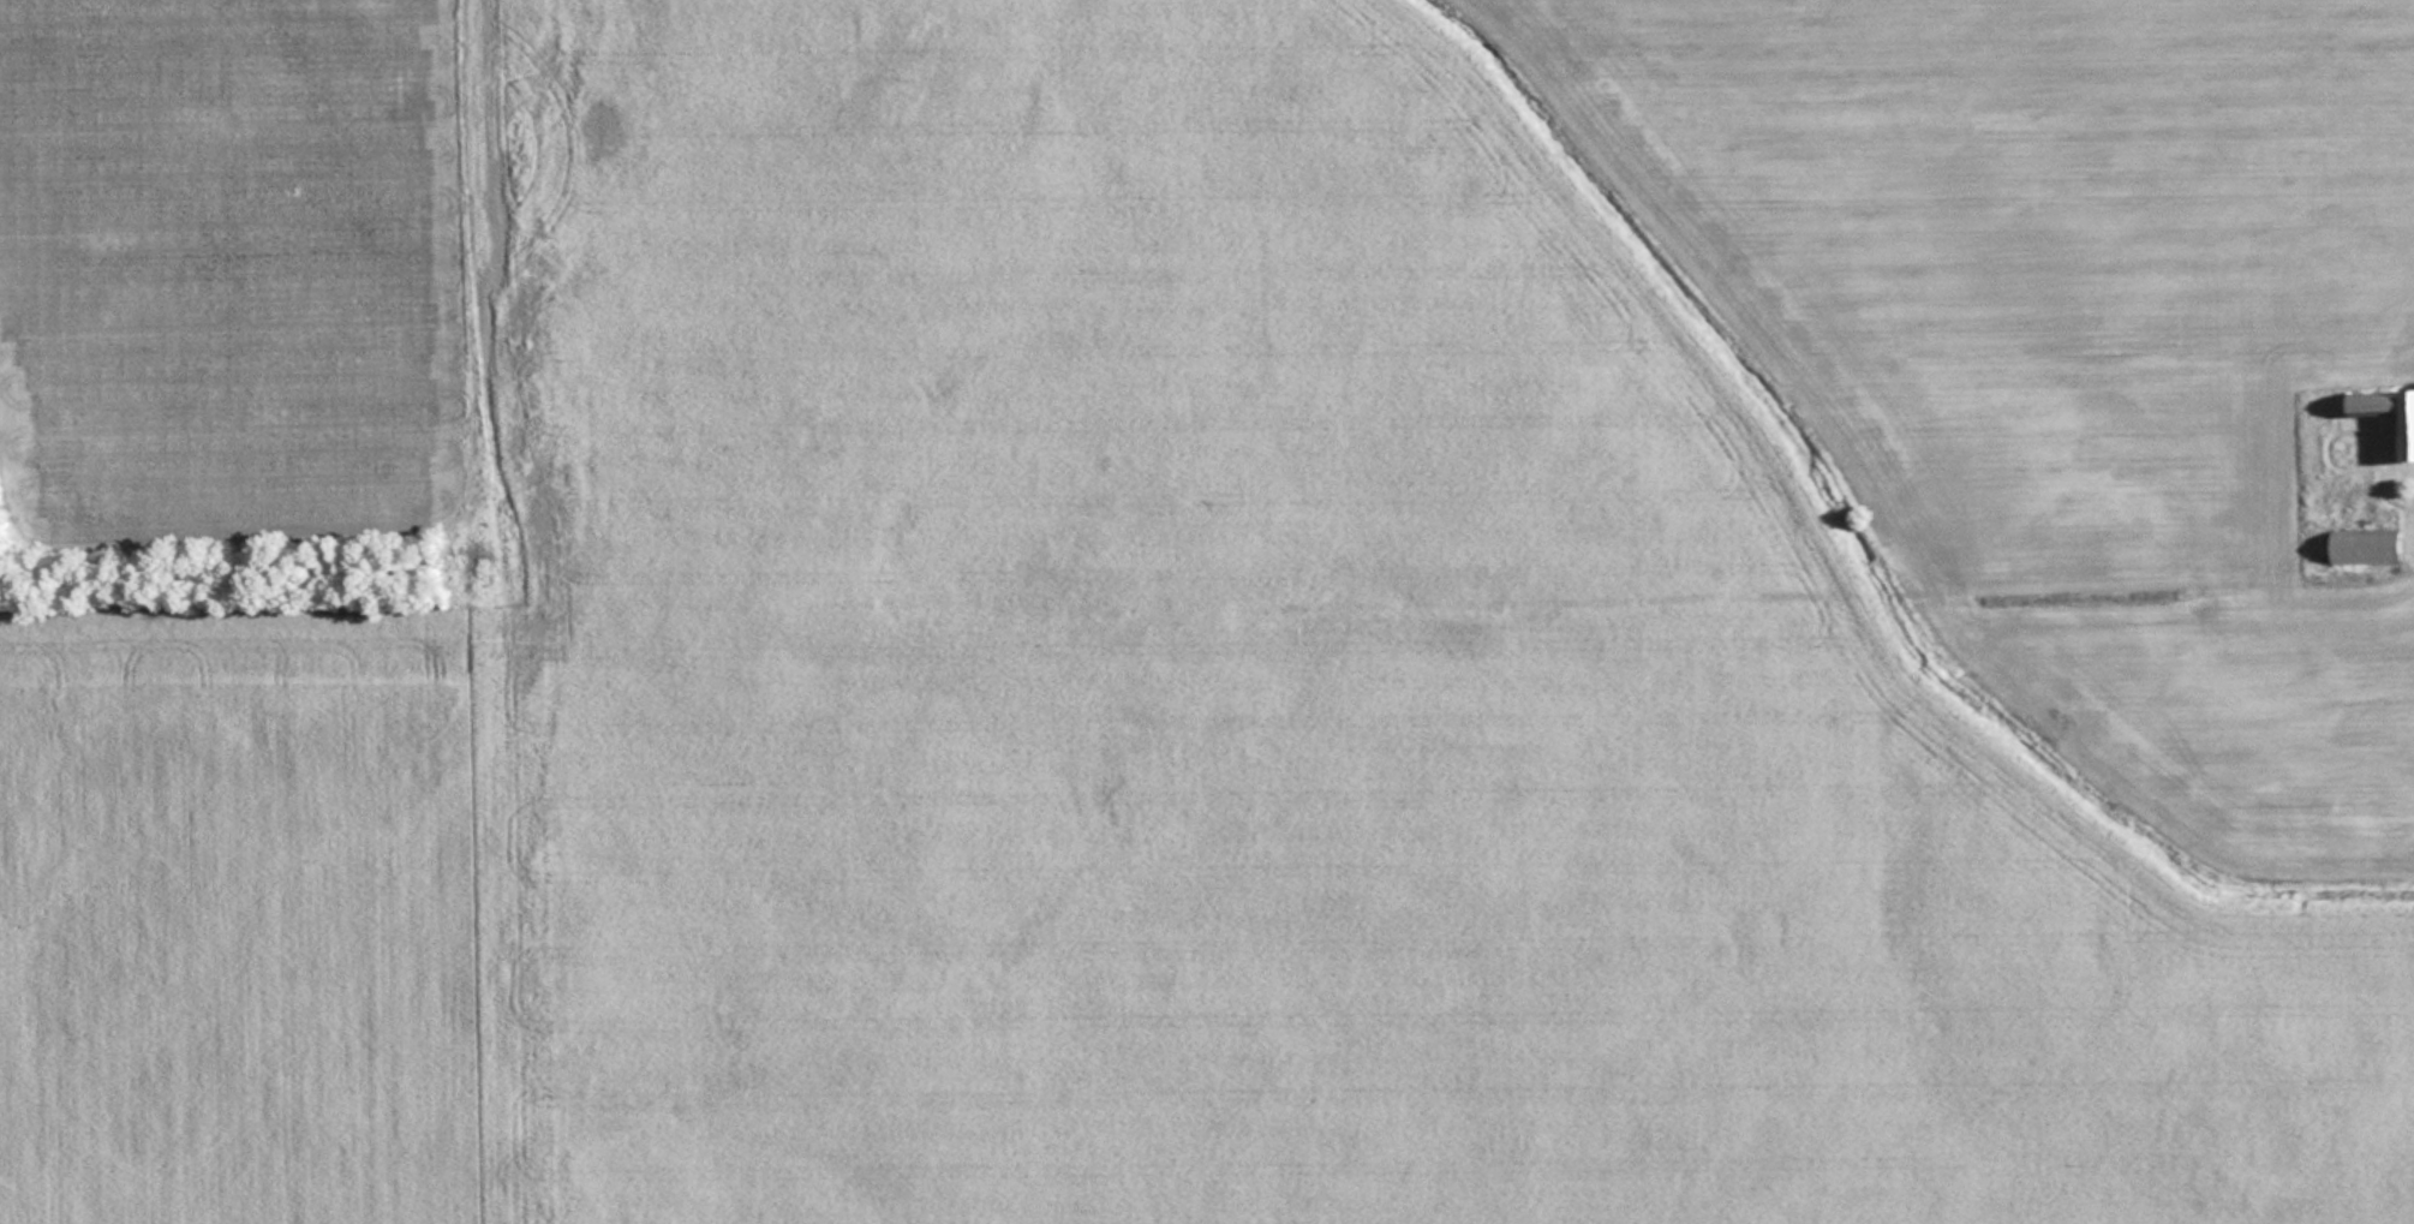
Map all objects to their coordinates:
building: (2388, 413)
building: (2364, 545)

